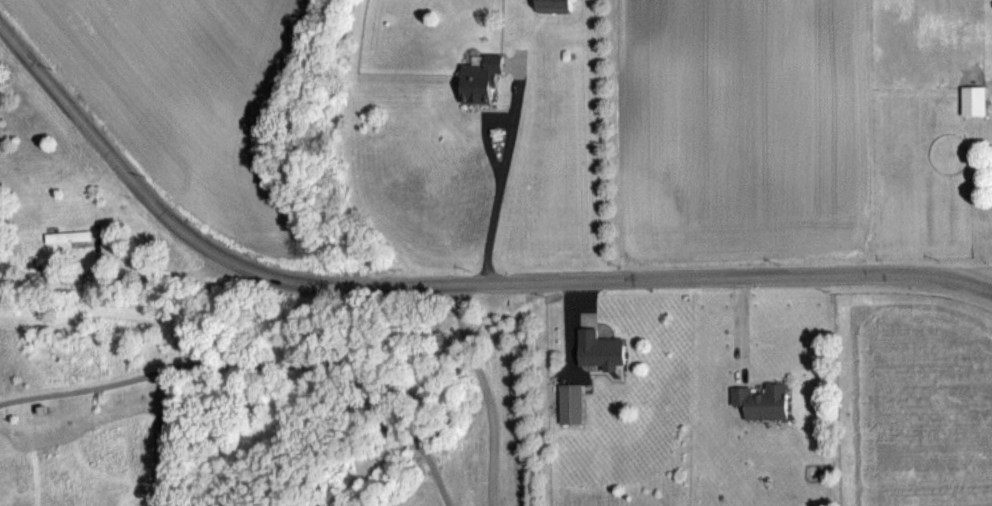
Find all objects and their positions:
building: (559, 4)
building: (489, 76)
building: (967, 100)
road: (966, 272)
road: (966, 281)
road: (417, 283)
building: (605, 348)
road: (467, 394)
building: (768, 399)

